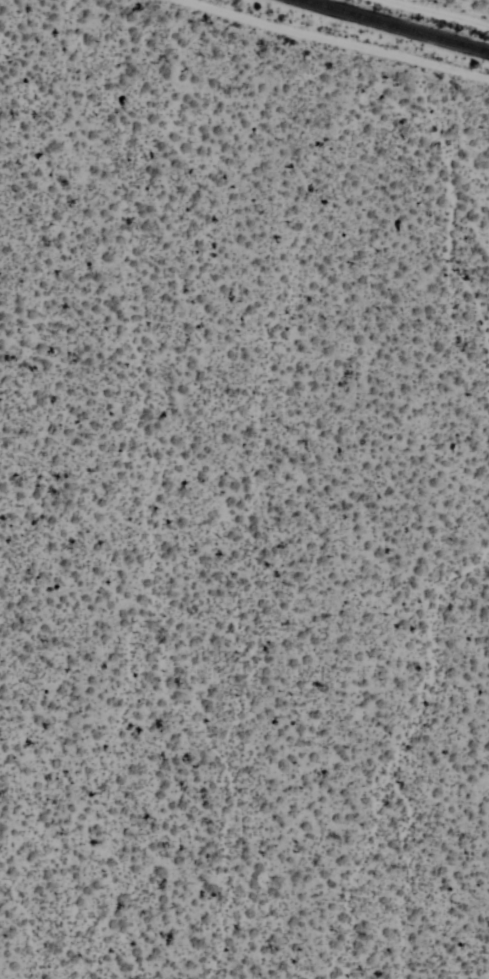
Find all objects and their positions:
railway: (391, 26)

